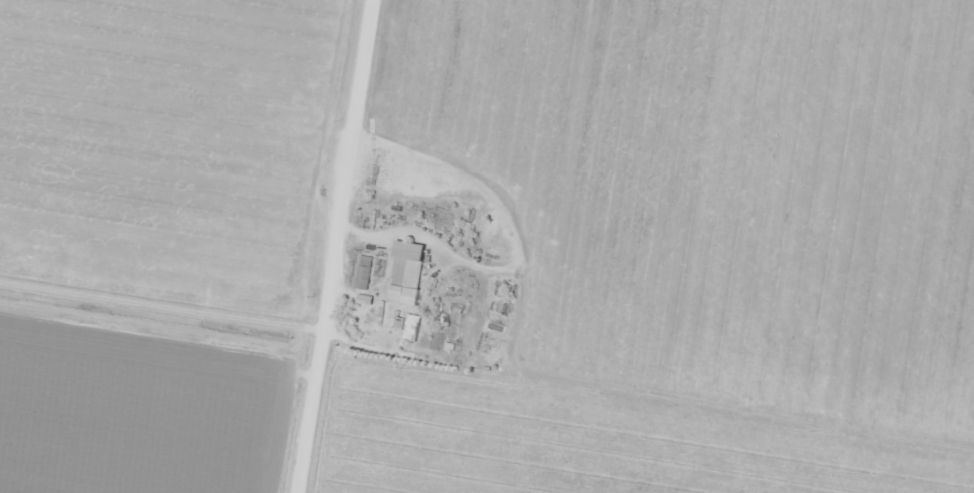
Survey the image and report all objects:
road: (346, 246)
building: (361, 272)
building: (403, 273)
building: (409, 326)

